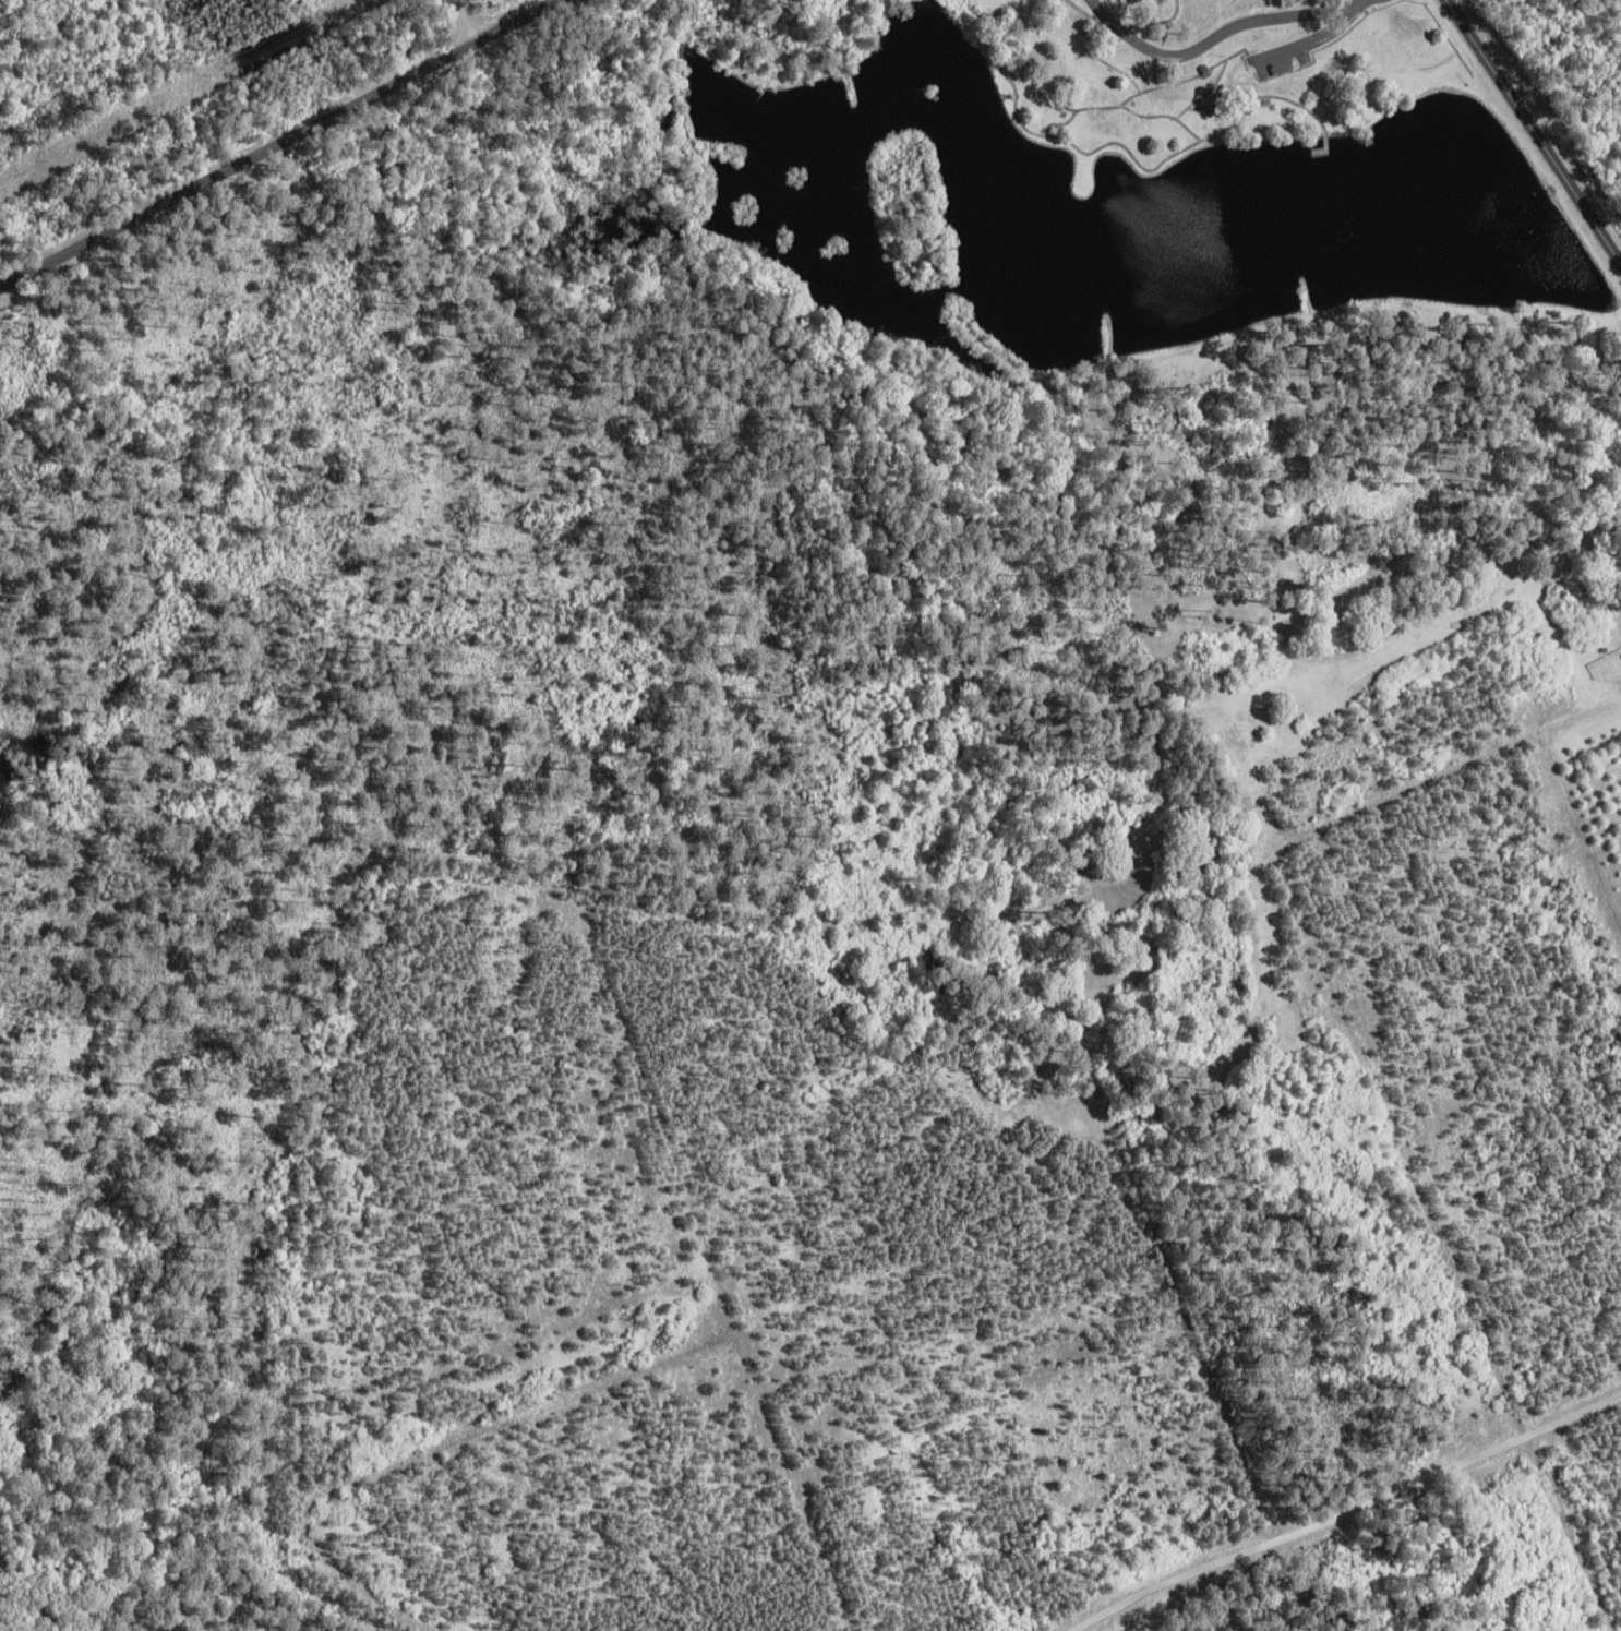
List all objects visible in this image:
road: (467, 21)
road: (1228, 34)
road: (1324, 38)
road: (1538, 128)
road: (279, 137)
park: (1049, 314)
road: (1586, 818)
road: (1359, 1070)
road: (1334, 1504)

